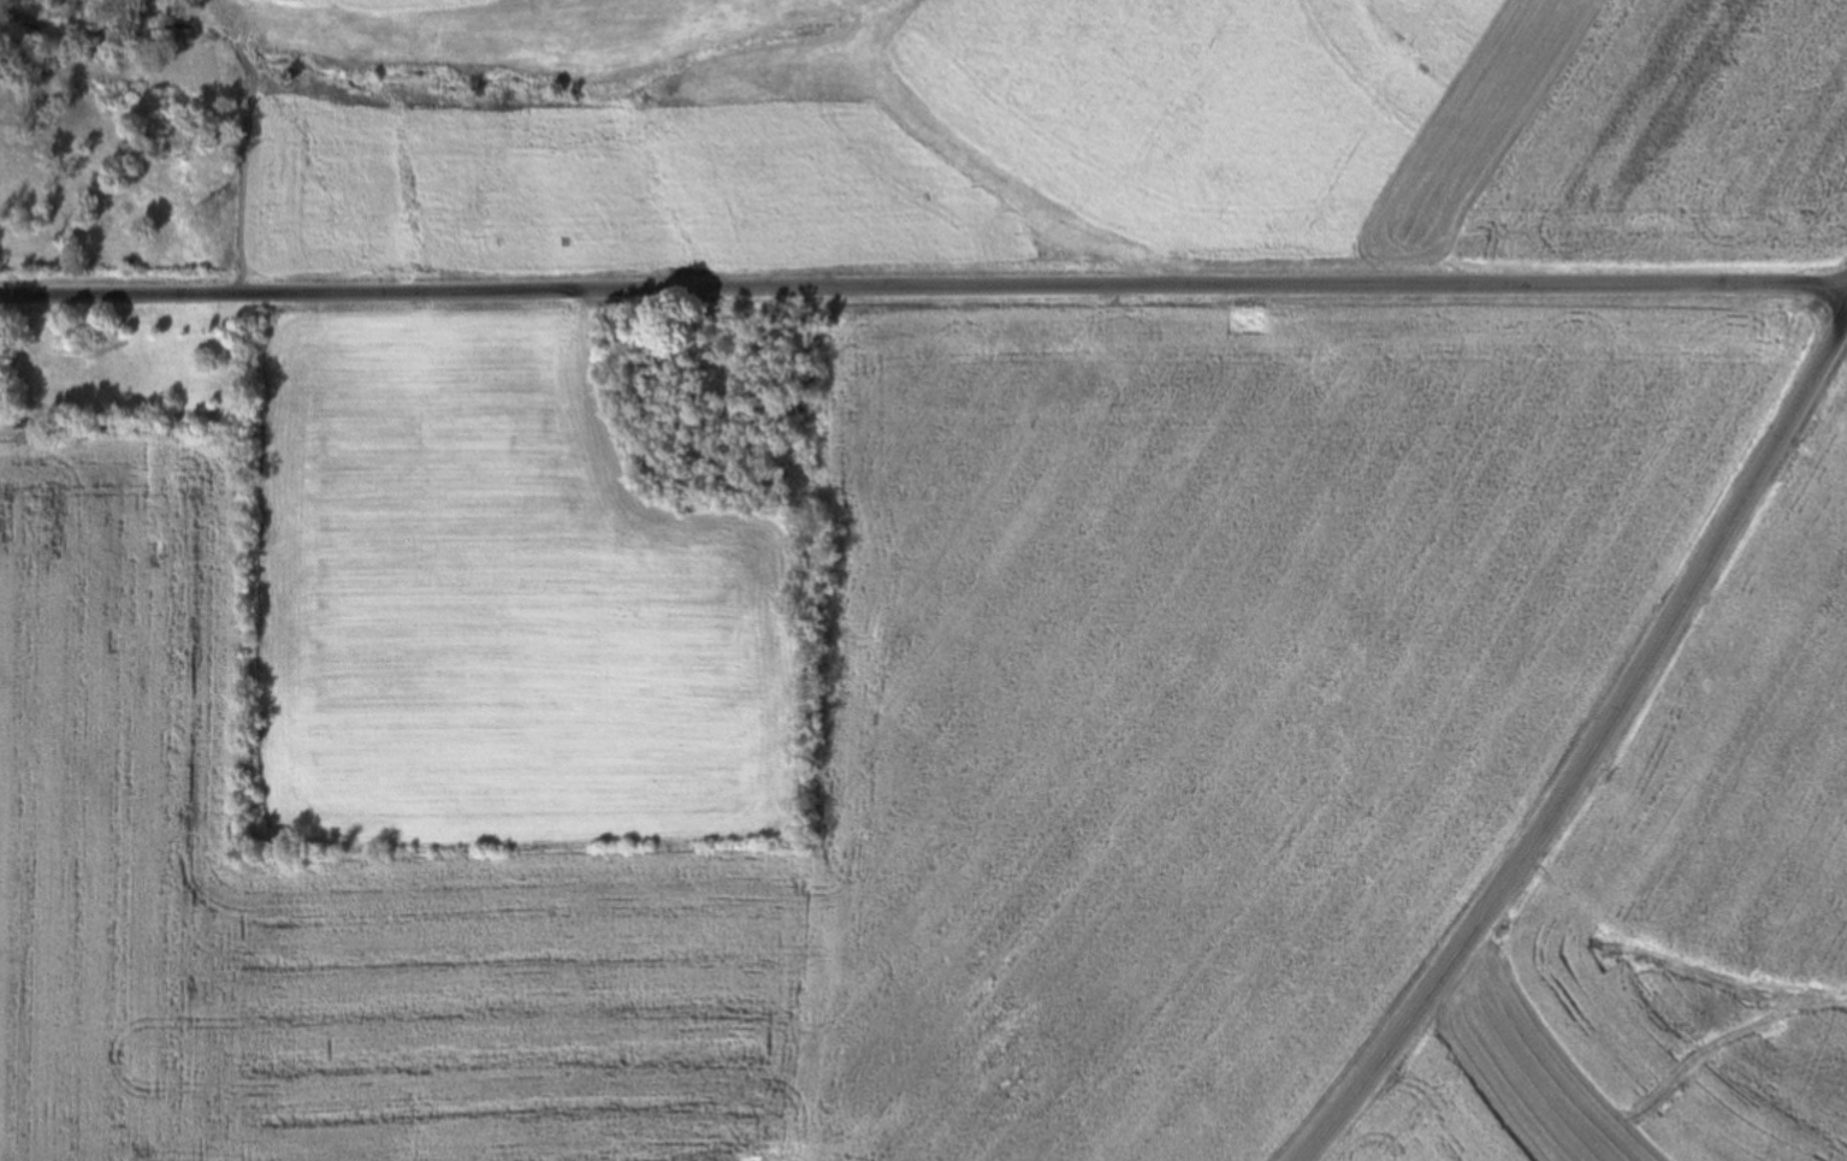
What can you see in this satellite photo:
road: (923, 289)
road: (1592, 756)
mineshaft: (1020, 1032)

